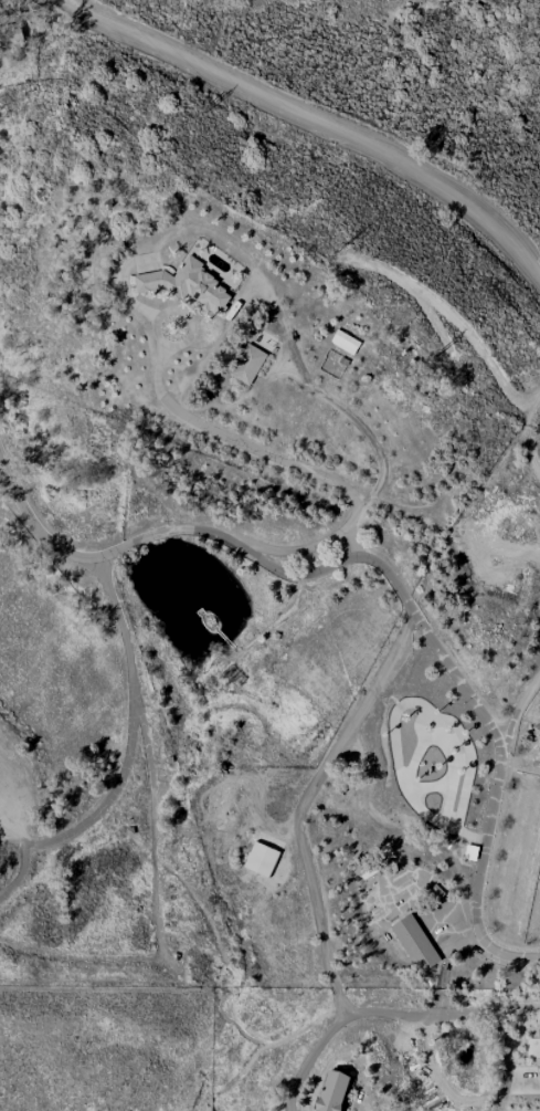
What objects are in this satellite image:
road: (299, 125)
building: (181, 283)
road: (148, 310)
building: (341, 340)
building: (243, 363)
road: (389, 567)
road: (297, 853)
building: (411, 942)
road: (420, 1050)
building: (325, 1091)

